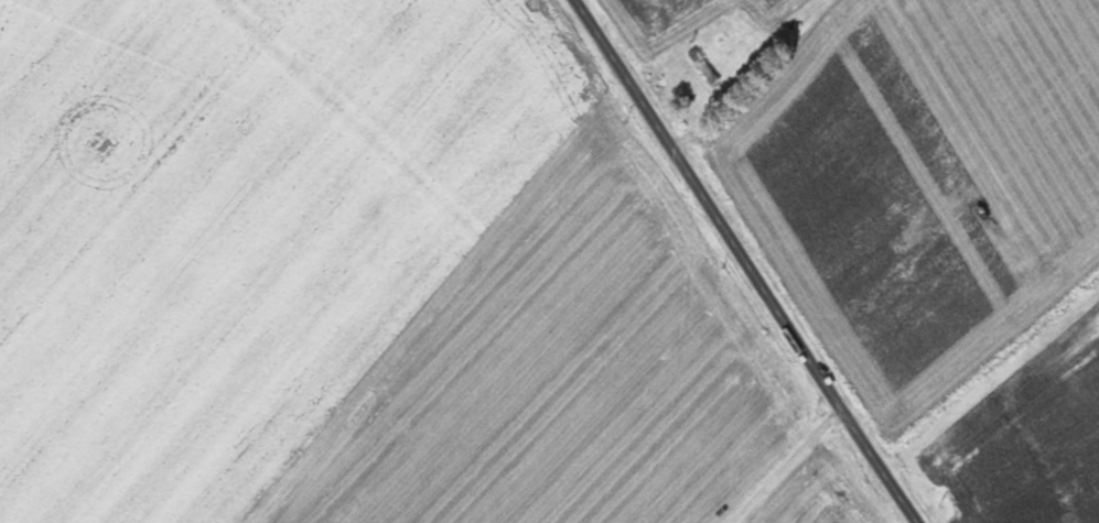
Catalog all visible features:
road: (744, 262)

